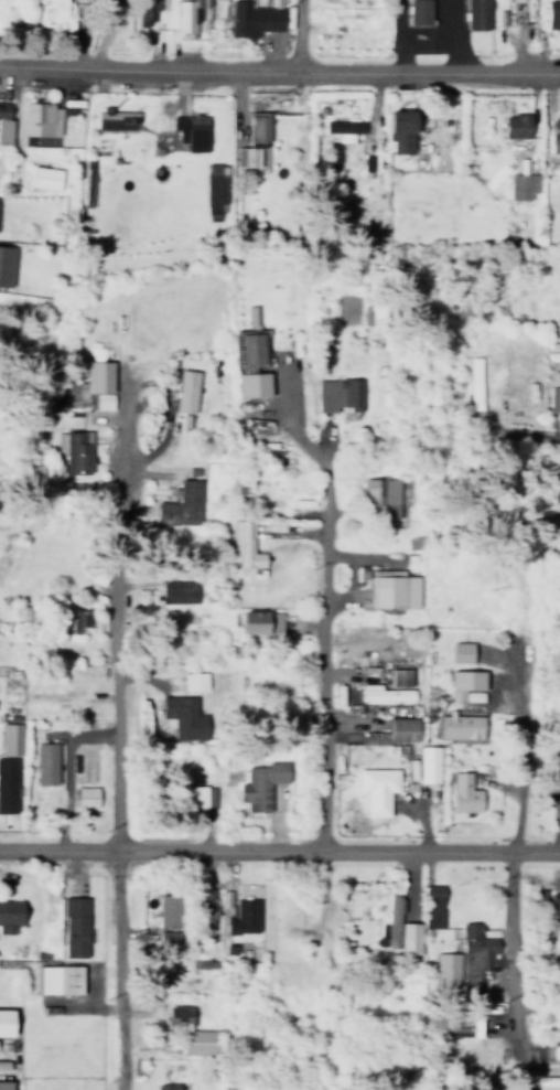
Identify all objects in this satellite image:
building: (418, 11)
building: (476, 13)
building: (53, 14)
building: (254, 15)
road: (106, 31)
road: (298, 34)
road: (279, 67)
building: (40, 118)
building: (115, 119)
building: (517, 122)
building: (344, 125)
building: (401, 127)
building: (190, 130)
building: (556, 131)
building: (257, 138)
building: (44, 177)
building: (519, 185)
building: (214, 188)
building: (6, 267)
building: (252, 349)
building: (474, 382)
building: (86, 383)
building: (252, 384)
building: (185, 391)
building: (337, 394)
building: (552, 398)
road: (529, 434)
building: (74, 446)
building: (559, 478)
building: (265, 488)
building: (380, 495)
building: (179, 499)
building: (244, 539)
building: (391, 584)
building: (176, 587)
building: (260, 619)
building: (76, 621)
building: (461, 646)
road: (323, 652)
building: (465, 681)
building: (388, 683)
building: (183, 717)
building: (459, 722)
building: (400, 724)
building: (10, 733)
road: (117, 759)
building: (427, 761)
building: (557, 761)
building: (45, 762)
building: (57, 768)
road: (514, 774)
building: (388, 777)
building: (559, 777)
building: (7, 779)
building: (260, 783)
building: (461, 787)
building: (233, 789)
building: (198, 791)
building: (85, 792)
road: (280, 846)
building: (432, 893)
building: (205, 901)
building: (165, 906)
building: (556, 907)
building: (8, 909)
building: (241, 911)
building: (431, 918)
building: (73, 922)
building: (388, 925)
building: (168, 932)
building: (409, 938)
road: (511, 942)
building: (227, 944)
building: (474, 951)
building: (194, 959)
building: (446, 968)
building: (57, 974)
building: (175, 1011)
building: (4, 1017)
building: (197, 1036)
building: (2, 1060)
building: (3, 1082)
building: (166, 1084)
building: (558, 1087)

